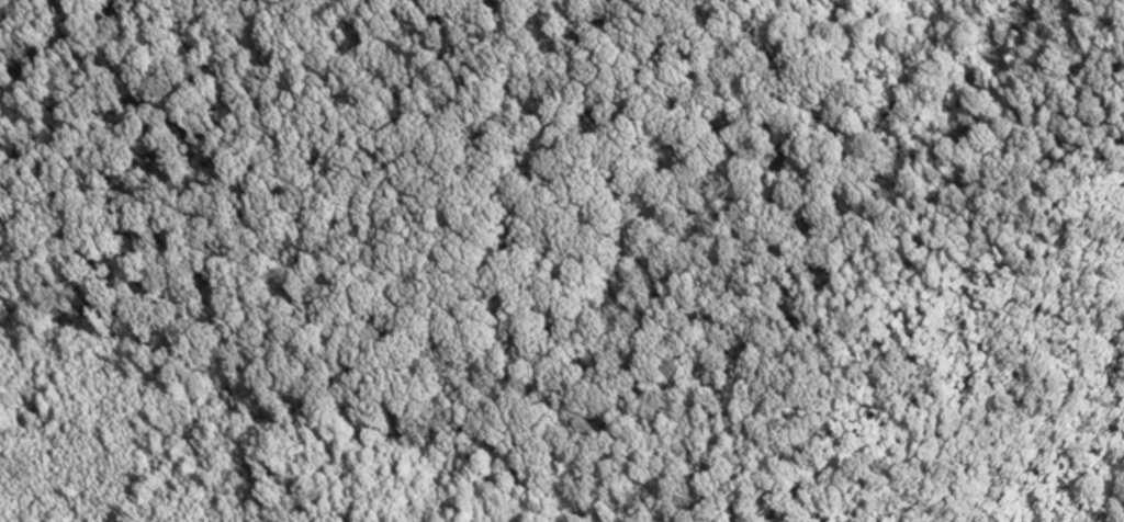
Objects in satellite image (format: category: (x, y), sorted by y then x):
road: (503, 257)

